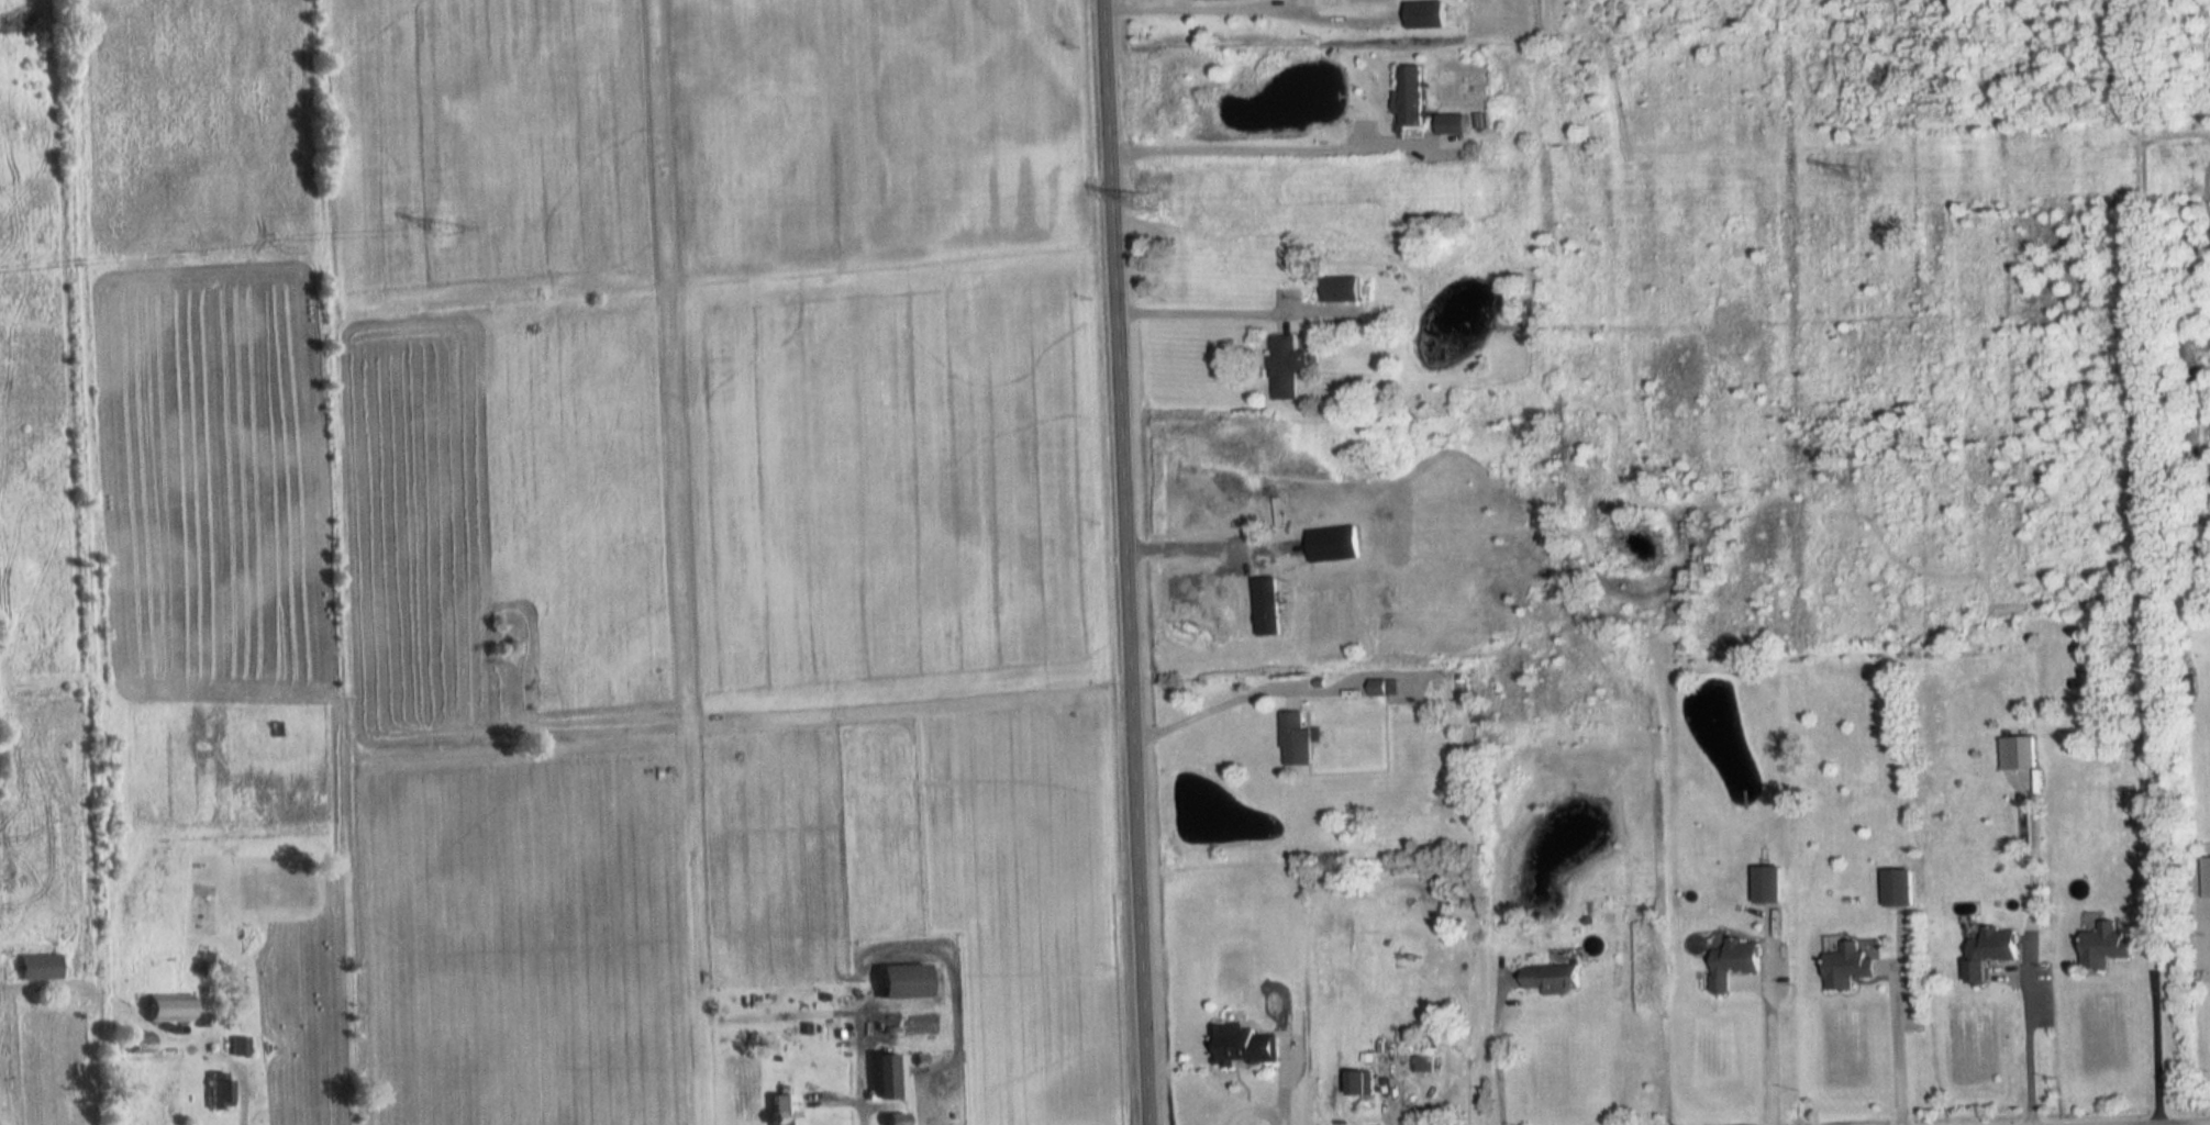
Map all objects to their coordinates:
road: (1271, 0)
building: (1424, 15)
building: (1410, 96)
building: (1450, 125)
road: (1248, 151)
power tower: (1856, 172)
power tower: (1141, 201)
power tower: (441, 231)
building: (1339, 289)
road: (1200, 311)
building: (1285, 367)
crop: (620, 520)
road: (1184, 544)
road: (1125, 561)
building: (1267, 606)
helipad: (1325, 614)
building: (2191, 684)
building: (1381, 688)
road: (1202, 714)
building: (1295, 739)
building: (2021, 753)
building: (1767, 885)
building: (1898, 888)
building: (2105, 946)
building: (1990, 951)
building: (1733, 962)
building: (36, 968)
building: (1847, 968)
building: (1553, 979)
building: (901, 982)
building: (166, 1009)
road: (2156, 1034)
building: (135, 1043)
building: (1245, 1046)
building: (237, 1047)
road: (2029, 1047)
road: (1898, 1048)
road: (1495, 1051)
road: (1769, 1055)
road: (231, 1062)
building: (1420, 1062)
building: (886, 1079)
building: (216, 1092)
building: (780, 1111)
building: (892, 1121)

